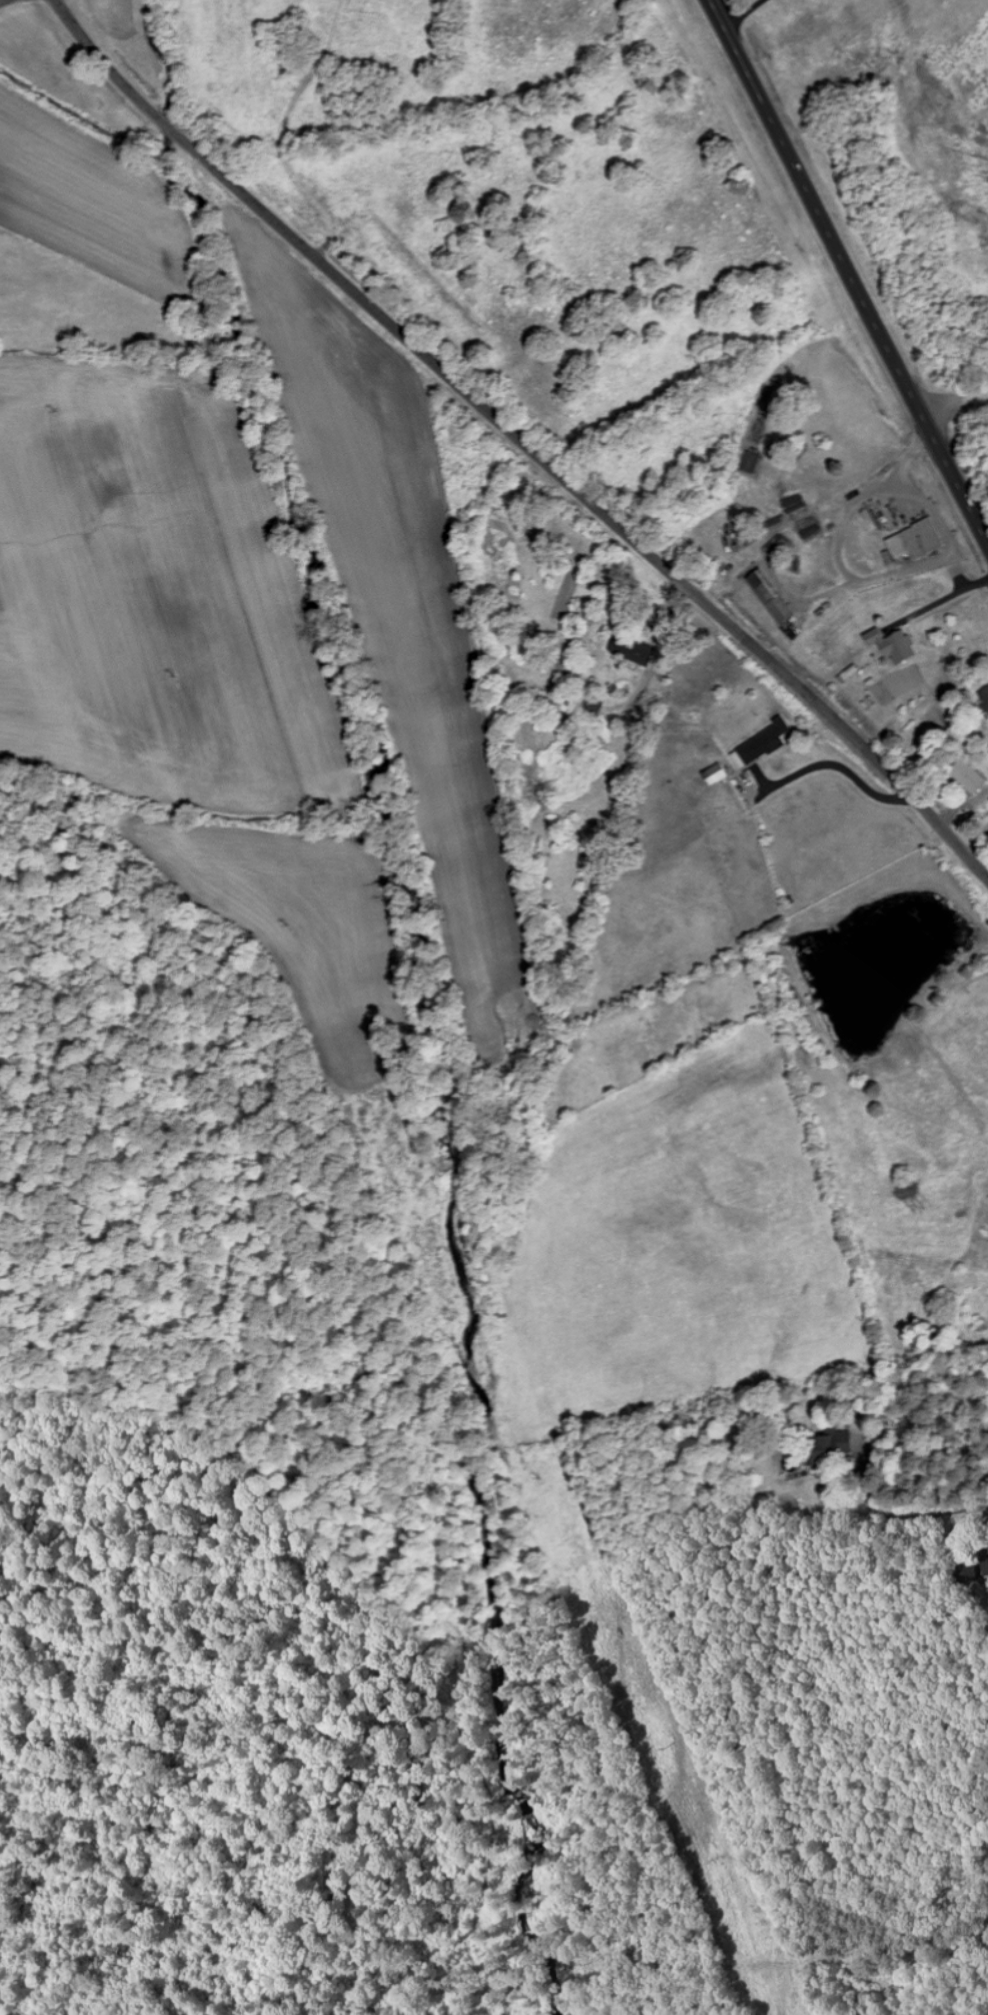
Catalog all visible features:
road: (5, 2)
road: (848, 272)
road: (522, 438)
building: (914, 541)
building: (769, 596)
building: (891, 645)
building: (640, 652)
building: (984, 696)
building: (760, 745)
building: (714, 775)
building: (966, 777)
building: (829, 1448)
road: (984, 1507)

